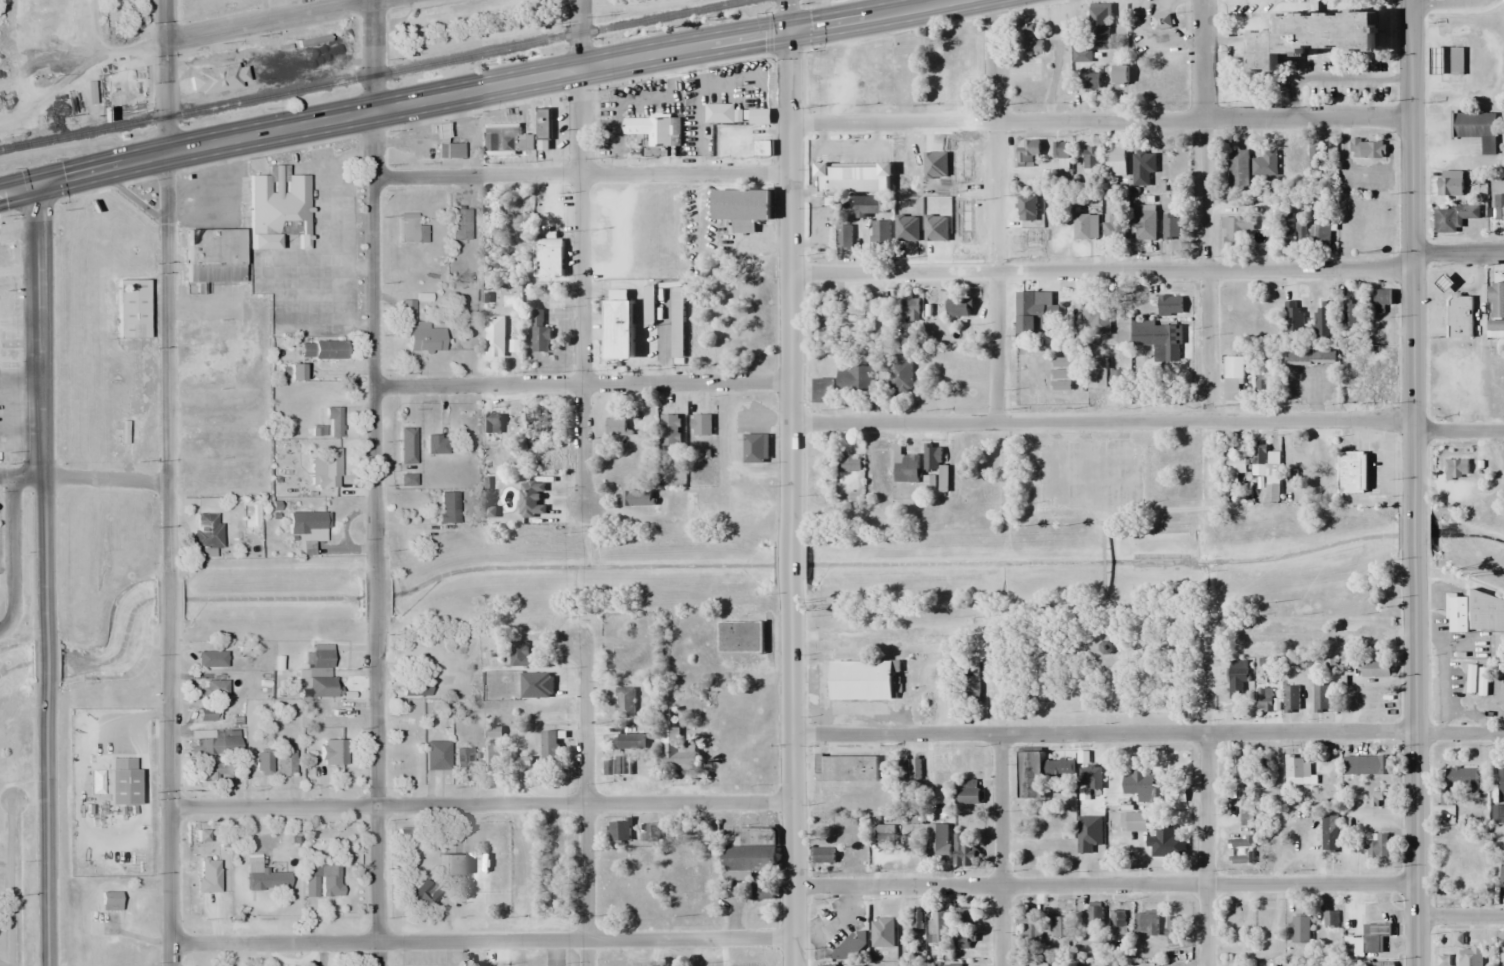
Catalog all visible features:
road: (789, 15)
road: (270, 20)
traffic signals: (789, 30)
building: (1095, 32)
road: (581, 33)
building: (1313, 36)
building: (1027, 41)
road: (373, 55)
building: (1437, 60)
building: (1456, 61)
building: (814, 63)
building: (950, 69)
railway: (373, 73)
building: (1120, 74)
road: (168, 75)
building: (216, 78)
building: (1090, 80)
road: (515, 81)
building: (813, 95)
building: (734, 115)
road: (1100, 121)
building: (543, 123)
building: (654, 129)
building: (1475, 129)
building: (506, 140)
building: (444, 144)
building: (762, 148)
building: (1367, 149)
building: (1061, 150)
traffic signals: (167, 151)
building: (1027, 152)
building: (1316, 156)
building: (848, 160)
building: (1090, 161)
building: (1115, 161)
building: (908, 163)
building: (1265, 165)
building: (1143, 168)
building: (1238, 168)
road: (582, 175)
building: (855, 178)
building: (962, 181)
road: (39, 182)
traffic signals: (42, 182)
building: (1451, 183)
building: (741, 205)
building: (868, 206)
building: (1499, 207)
building: (1027, 209)
road: (1206, 210)
building: (278, 211)
road: (996, 212)
building: (1452, 218)
building: (1145, 223)
building: (458, 224)
building: (1085, 227)
building: (1171, 227)
building: (1114, 228)
building: (936, 230)
building: (1235, 230)
building: (1286, 230)
building: (410, 231)
building: (880, 234)
building: (1319, 234)
building: (1023, 239)
road: (1410, 251)
road: (1457, 253)
building: (212, 255)
building: (548, 258)
road: (790, 268)
road: (1100, 272)
building: (1444, 284)
road: (581, 286)
building: (1381, 299)
building: (1496, 300)
building: (649, 305)
building: (851, 306)
building: (1170, 306)
building: (874, 307)
building: (130, 308)
building: (958, 308)
building: (911, 309)
building: (1033, 311)
building: (1349, 314)
building: (1096, 319)
building: (1322, 320)
building: (1458, 323)
building: (822, 324)
building: (621, 326)
building: (677, 327)
building: (1496, 330)
building: (420, 331)
building: (540, 334)
building: (494, 335)
building: (1157, 336)
road: (375, 344)
building: (322, 350)
building: (1311, 357)
road: (168, 364)
building: (1097, 374)
building: (899, 375)
building: (1063, 375)
building: (853, 379)
building: (1373, 379)
building: (1118, 381)
road: (583, 383)
building: (1262, 383)
building: (821, 391)
road: (43, 406)
building: (334, 422)
road: (1101, 423)
building: (492, 424)
building: (543, 424)
building: (701, 425)
building: (616, 426)
building: (670, 431)
road: (1458, 432)
building: (436, 444)
building: (753, 448)
building: (1324, 458)
building: (847, 463)
building: (1236, 465)
building: (936, 466)
building: (324, 467)
building: (1456, 467)
building: (905, 470)
building: (1266, 471)
building: (1353, 473)
road: (84, 479)
building: (928, 482)
railway: (97, 483)
building: (638, 498)
building: (531, 500)
building: (447, 507)
building: (307, 529)
building: (207, 530)
road: (1413, 533)
road: (14, 555)
road: (792, 557)
road: (1108, 562)
park: (1099, 574)
road: (170, 603)
road: (377, 603)
building: (1487, 614)
building: (1458, 615)
road: (1332, 631)
building: (740, 637)
building: (243, 651)
building: (518, 654)
building: (625, 657)
building: (210, 659)
road: (45, 664)
building: (1375, 670)
building: (1237, 680)
building: (862, 681)
building: (415, 685)
building: (322, 687)
building: (213, 688)
building: (969, 689)
building: (1321, 699)
building: (1291, 700)
building: (1265, 702)
building: (625, 704)
building: (207, 714)
building: (334, 715)
building: (409, 729)
road: (1148, 732)
building: (493, 733)
building: (630, 742)
building: (219, 744)
building: (549, 747)
building: (677, 751)
building: (333, 752)
building: (437, 755)
building: (463, 759)
building: (490, 759)
building: (285, 762)
building: (521, 762)
building: (262, 764)
road: (1414, 764)
building: (1367, 765)
building: (618, 767)
building: (1241, 768)
building: (219, 771)
building: (1294, 771)
building: (1056, 775)
building: (1089, 778)
building: (1501, 782)
building: (1458, 783)
building: (1141, 784)
road: (793, 787)
building: (966, 790)
road: (377, 796)
road: (170, 797)
road: (482, 805)
road: (584, 808)
building: (1246, 818)
building: (1134, 821)
road: (46, 832)
building: (619, 832)
building: (1329, 832)
building: (1089, 833)
building: (882, 834)
building: (755, 836)
building: (937, 841)
building: (1241, 842)
building: (1167, 845)
building: (1379, 847)
road: (1000, 849)
road: (1205, 849)
building: (965, 850)
building: (823, 855)
building: (1241, 858)
building: (449, 863)
building: (736, 864)
building: (256, 873)
building: (1502, 875)
building: (322, 879)
road: (12, 882)
road: (1104, 885)
building: (1095, 914)
road: (1459, 917)
building: (1330, 919)
building: (1119, 922)
building: (882, 923)
building: (1147, 923)
building: (938, 925)
building: (1028, 926)
building: (1060, 926)
building: (1172, 929)
building: (1300, 930)
building: (1375, 936)
road: (482, 940)
building: (1352, 948)
building: (1469, 956)
building: (1501, 956)
building: (1383, 963)
road: (6, 964)
building: (827, 965)
building: (856, 965)

